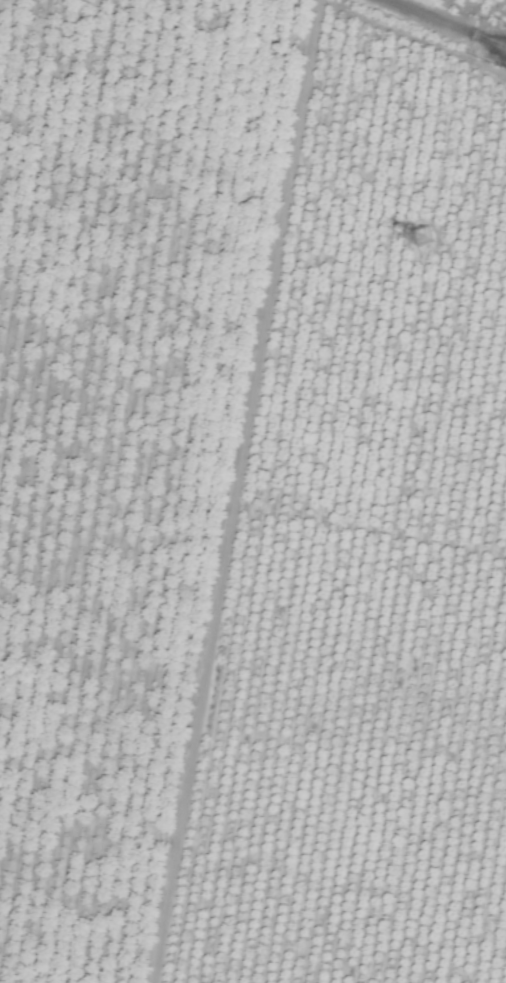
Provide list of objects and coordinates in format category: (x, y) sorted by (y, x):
road: (445, 24)
building: (421, 236)
power tower: (422, 236)
building: (283, 972)

